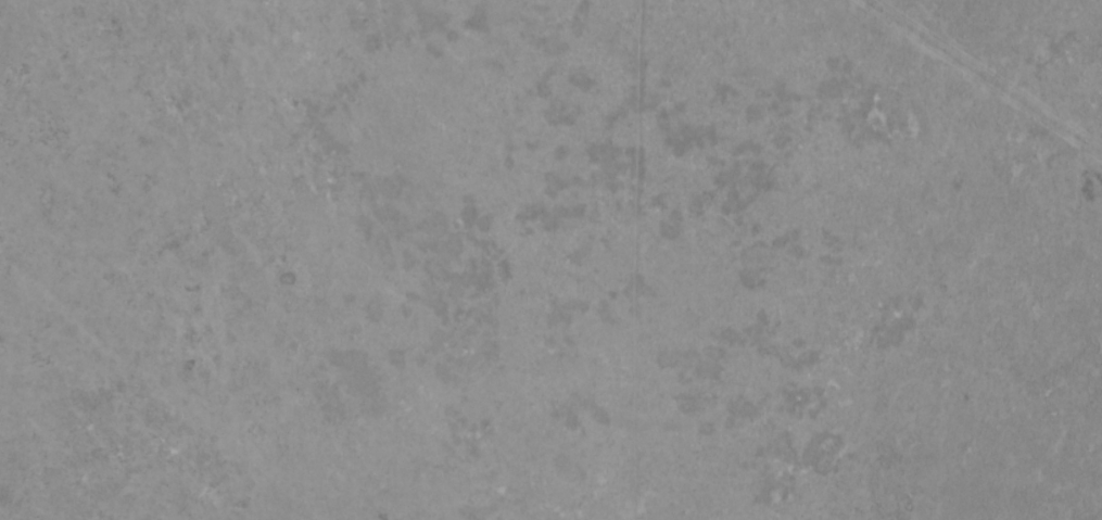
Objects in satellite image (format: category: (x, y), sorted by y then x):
road: (1016, 78)

